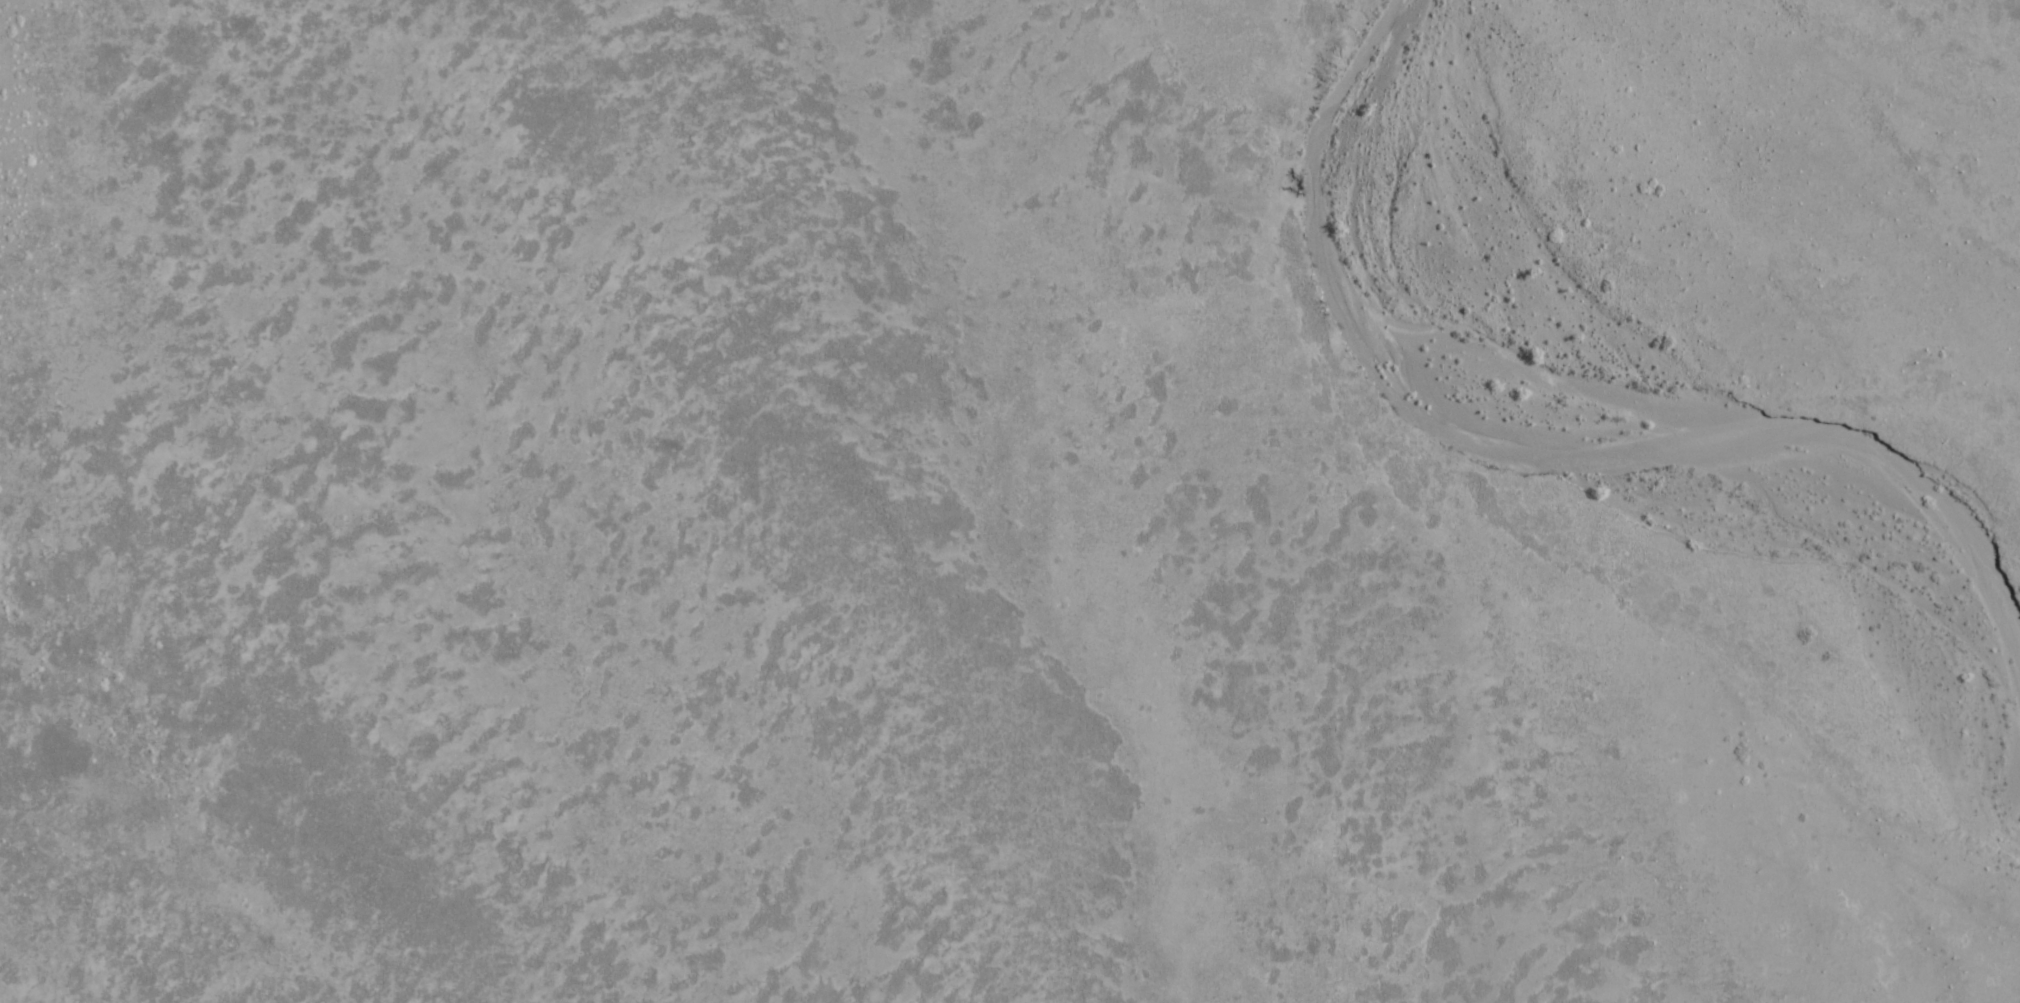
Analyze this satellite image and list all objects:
river: (1676, 432)

